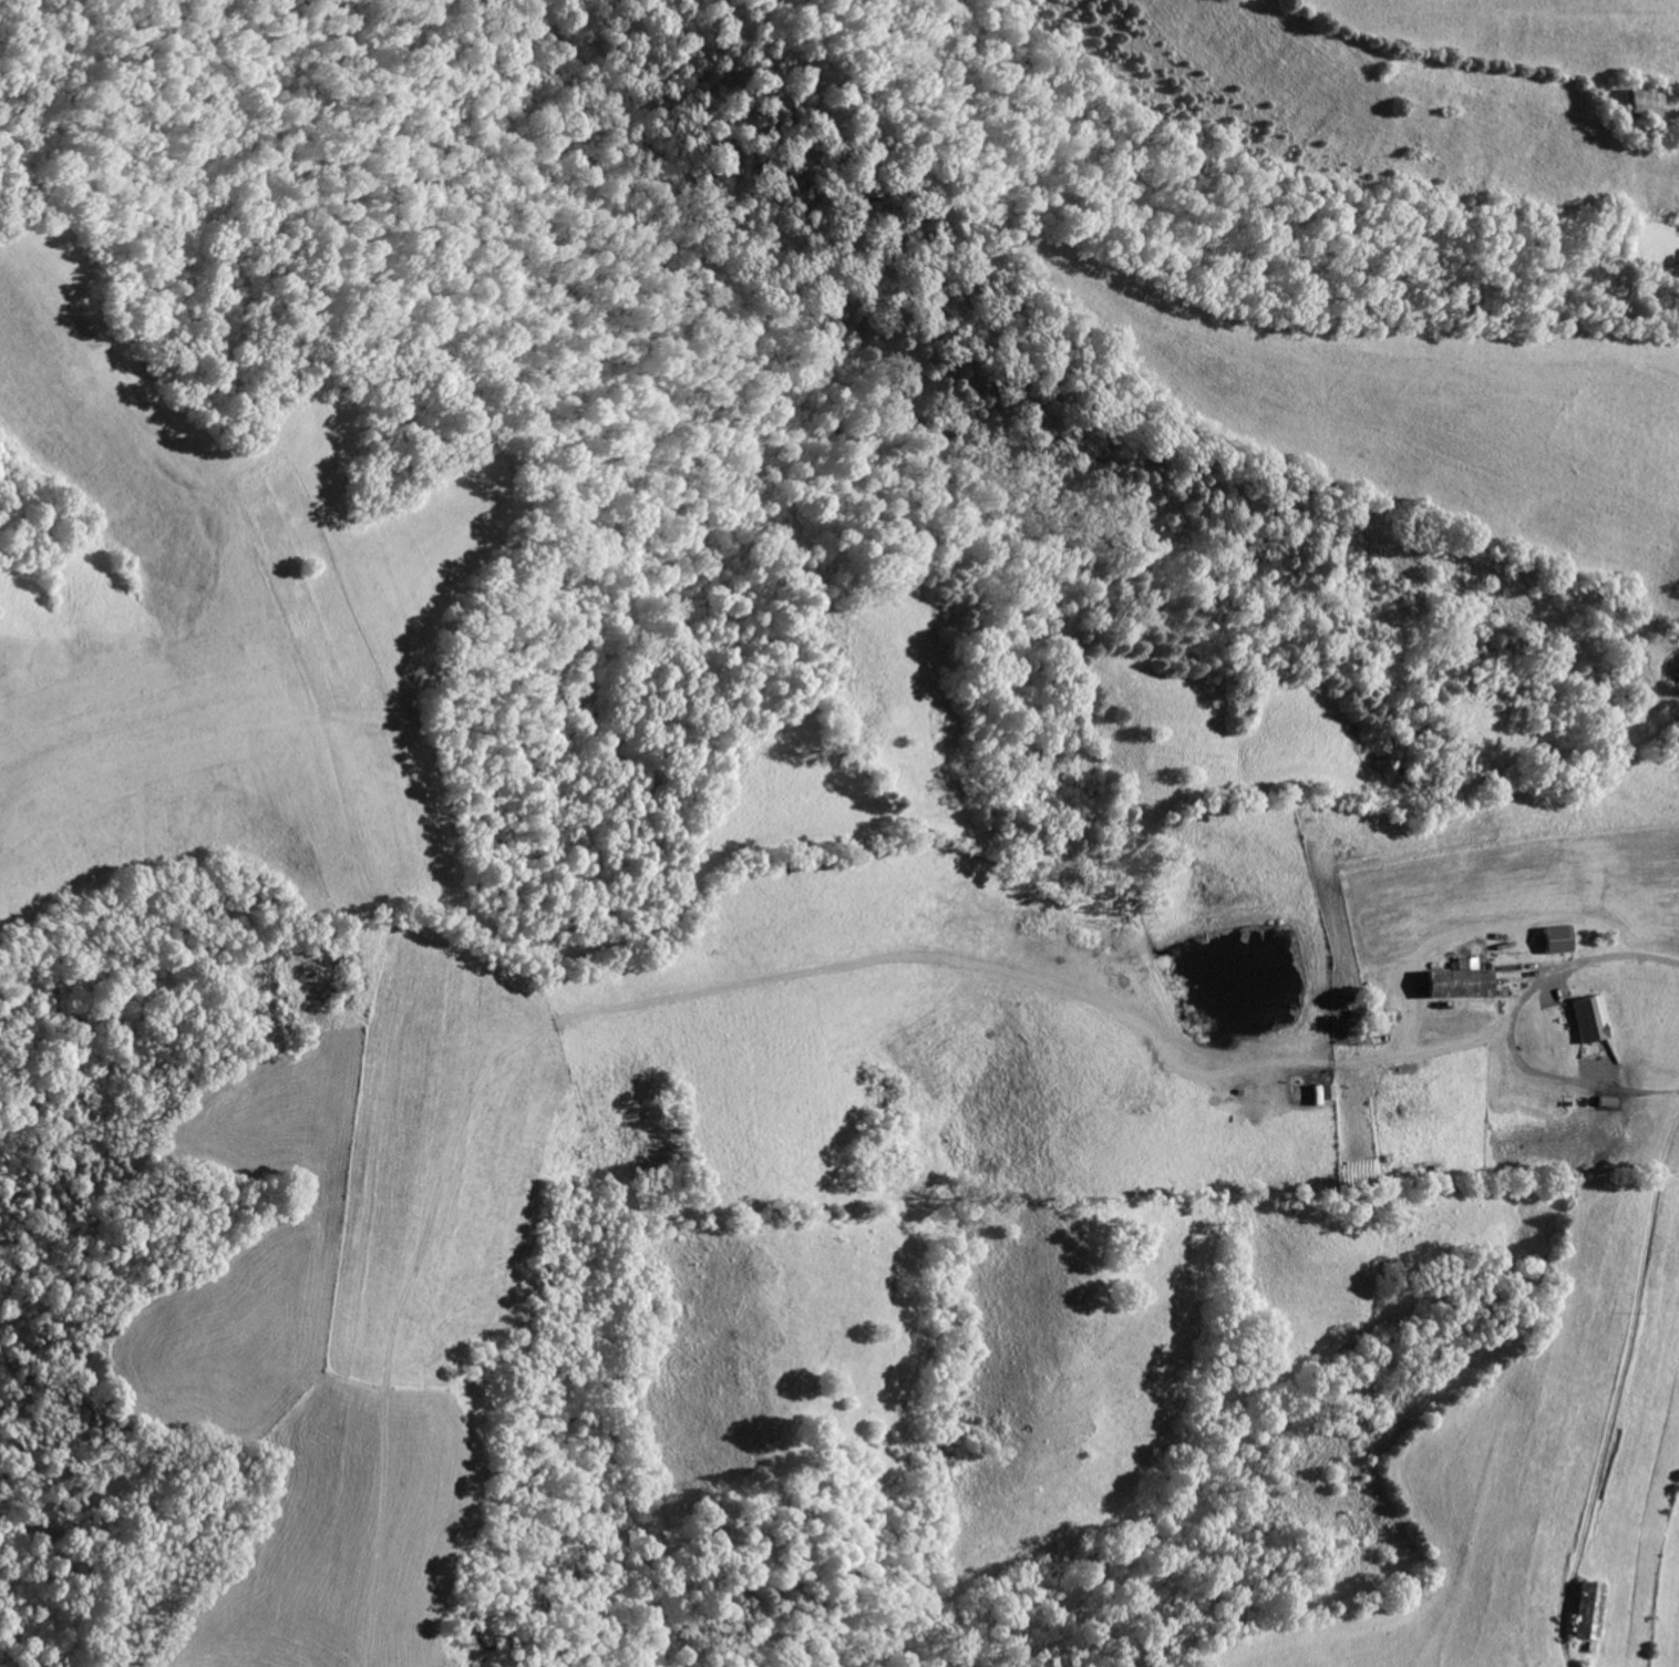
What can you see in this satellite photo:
building: (1636, 104)
building: (1554, 937)
road: (1608, 957)
building: (1455, 979)
building: (1592, 1033)

